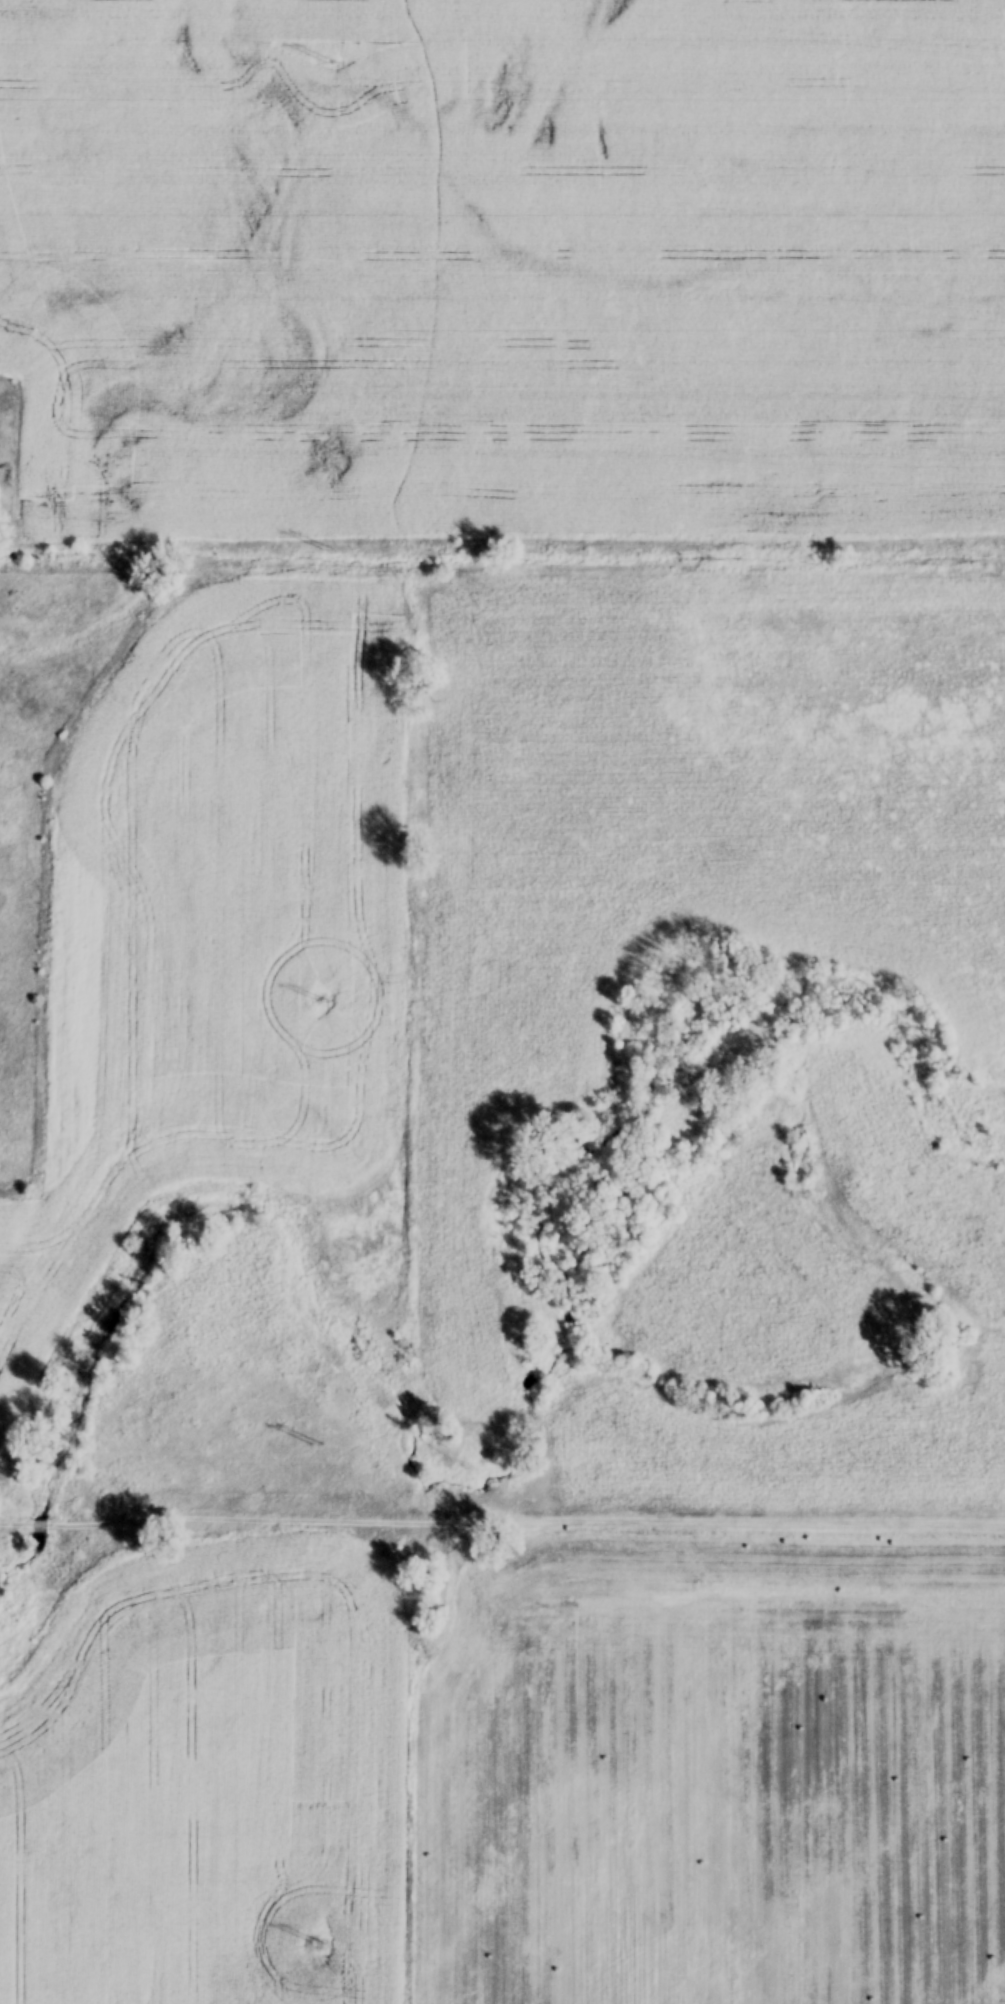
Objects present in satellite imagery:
power tower: (336, 61)
power tower: (328, 550)
power tower: (324, 997)
power tower: (320, 1443)
road: (502, 1521)
power tower: (319, 1939)

